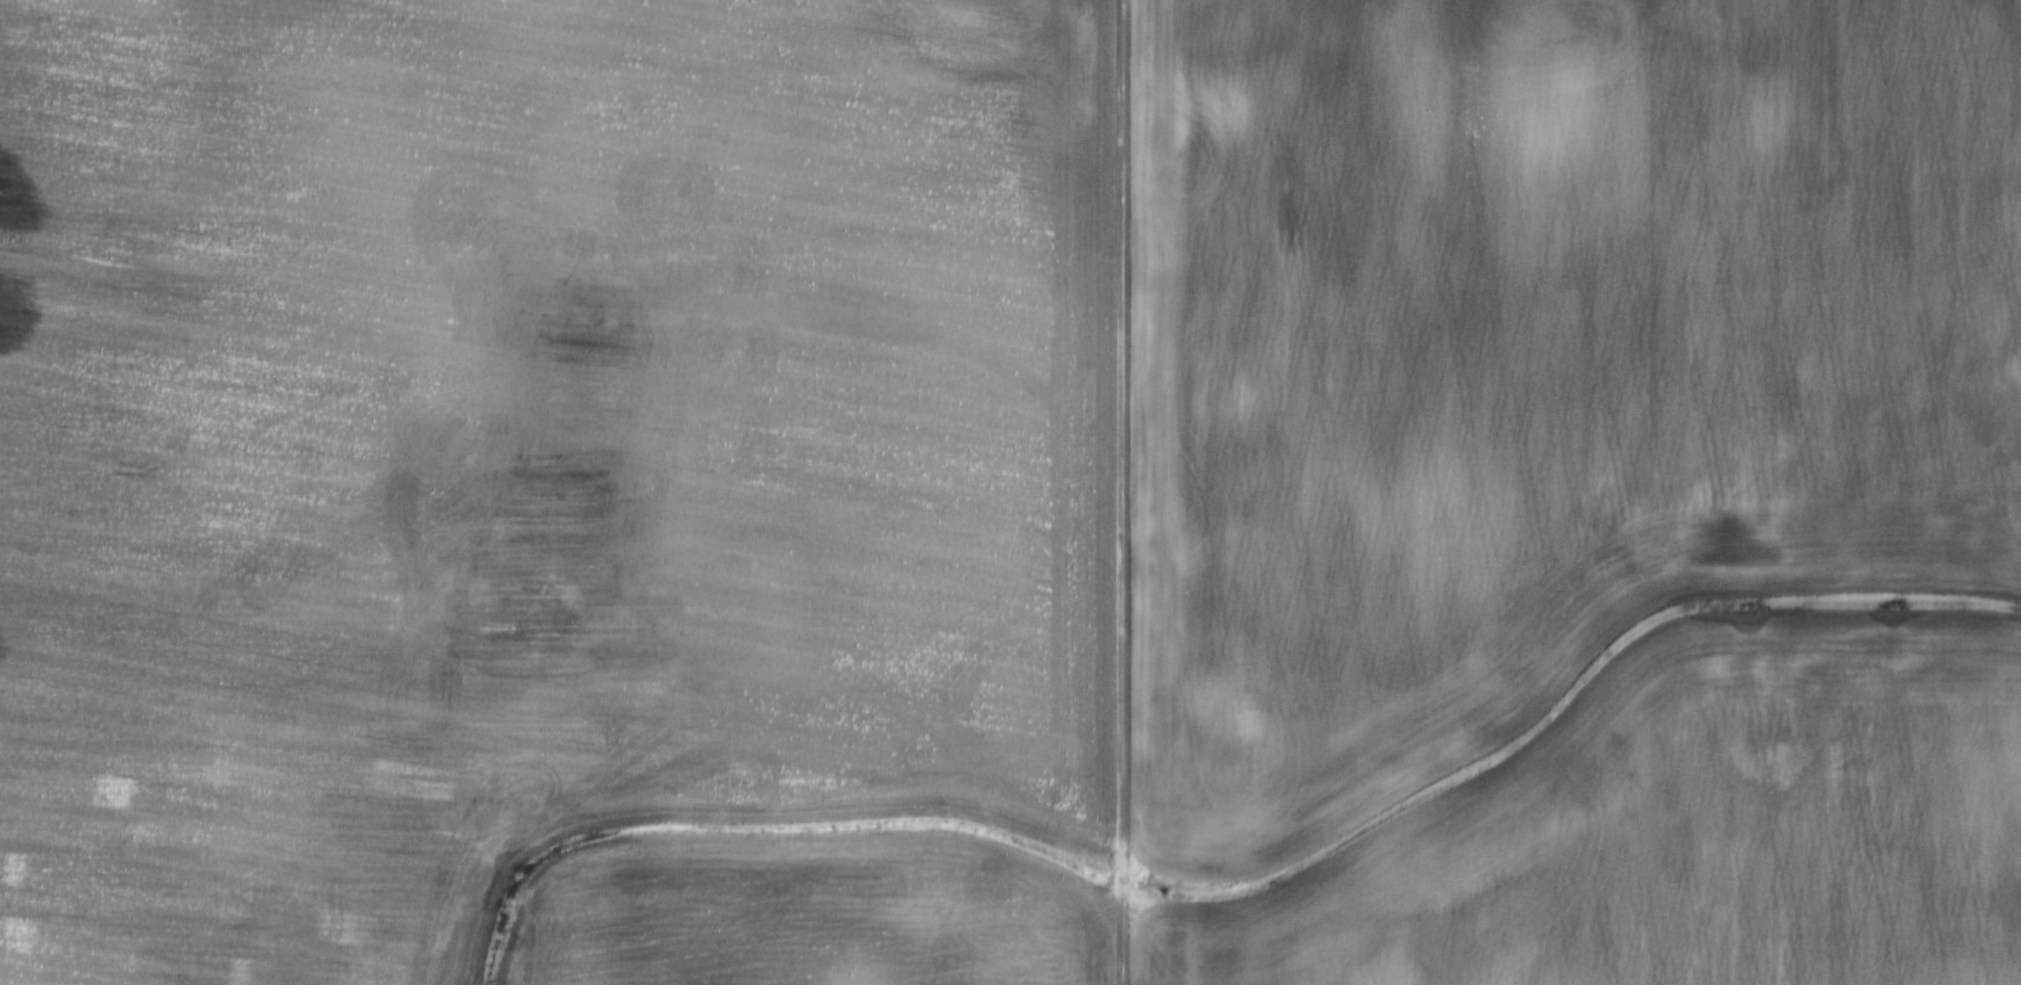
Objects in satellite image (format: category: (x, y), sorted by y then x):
road: (1131, 492)

